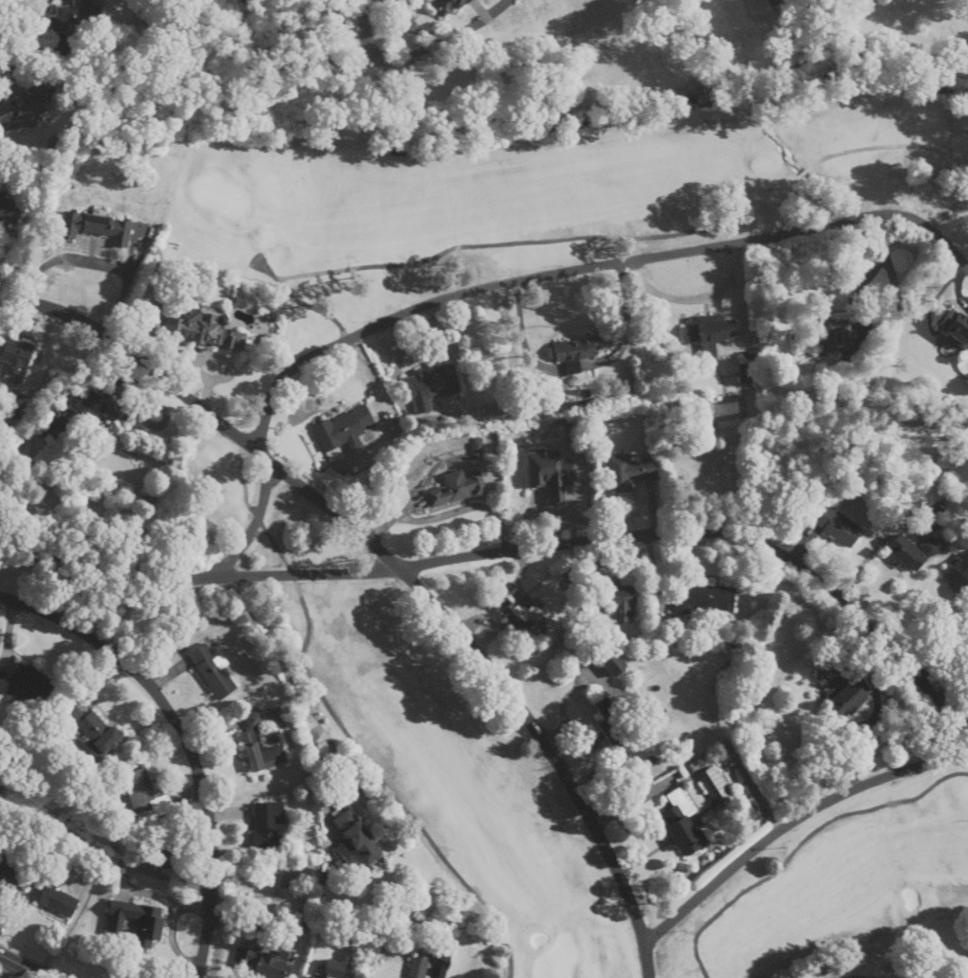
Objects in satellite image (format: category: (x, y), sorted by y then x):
building: (448, 6)
building: (86, 8)
road: (418, 52)
building: (31, 108)
park: (562, 194)
building: (9, 211)
building: (97, 226)
road: (96, 262)
road: (588, 266)
road: (868, 275)
road: (957, 285)
road: (933, 300)
building: (957, 325)
building: (204, 330)
building: (710, 332)
building: (834, 335)
building: (578, 354)
building: (15, 360)
road: (225, 362)
building: (746, 373)
building: (432, 387)
building: (103, 406)
building: (51, 421)
building: (346, 429)
building: (627, 473)
building: (551, 474)
building: (457, 488)
road: (253, 525)
building: (840, 527)
road: (520, 548)
road: (872, 551)
building: (912, 553)
road: (399, 566)
building: (959, 575)
building: (704, 598)
building: (616, 603)
building: (516, 610)
building: (616, 665)
building: (213, 671)
building: (29, 686)
building: (851, 696)
road: (310, 718)
building: (612, 724)
building: (91, 728)
road: (186, 740)
building: (261, 744)
park: (558, 773)
building: (716, 785)
building: (145, 796)
road: (790, 820)
building: (683, 823)
building: (267, 824)
building: (358, 840)
building: (163, 855)
building: (8, 869)
building: (54, 899)
building: (150, 926)
building: (262, 963)
road: (26, 965)
building: (419, 965)
building: (442, 967)
building: (333, 969)
building: (966, 975)

